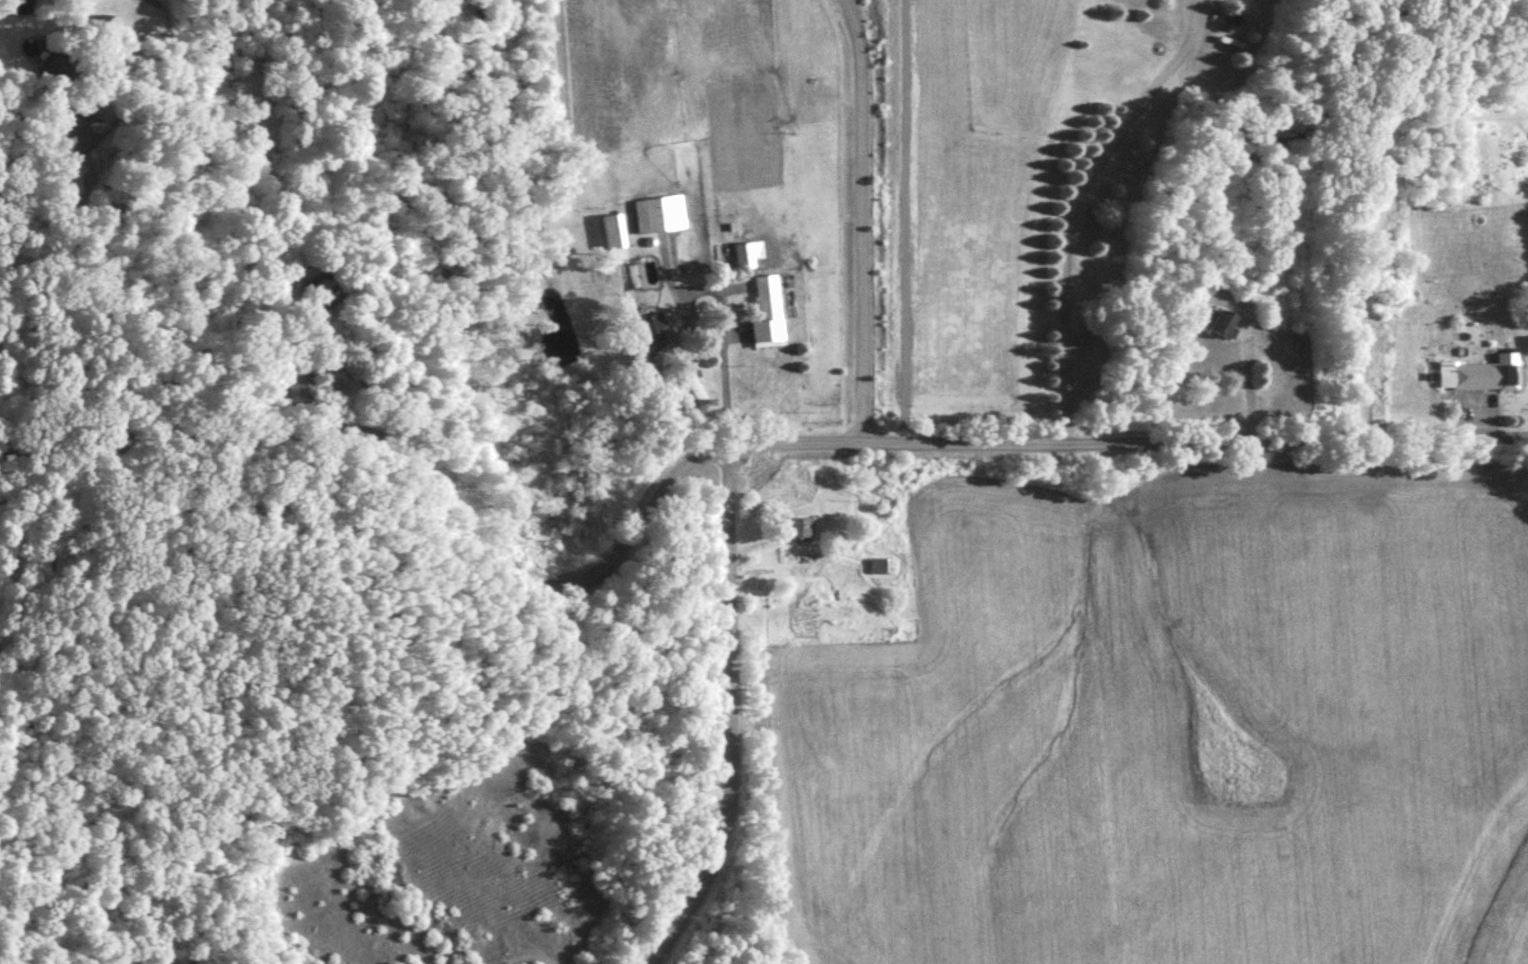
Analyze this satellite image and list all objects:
building: (57, 71)
road: (1072, 204)
building: (658, 214)
road: (861, 219)
building: (1476, 219)
building: (613, 237)
building: (747, 254)
road: (106, 286)
building: (313, 293)
building: (767, 313)
building: (1219, 323)
building: (650, 329)
building: (1525, 346)
road: (722, 367)
building: (1480, 374)
road: (328, 387)
building: (296, 389)
road: (1249, 390)
road: (700, 454)
road: (727, 510)
building: (801, 528)
building: (876, 566)
road: (376, 621)
road: (729, 780)

